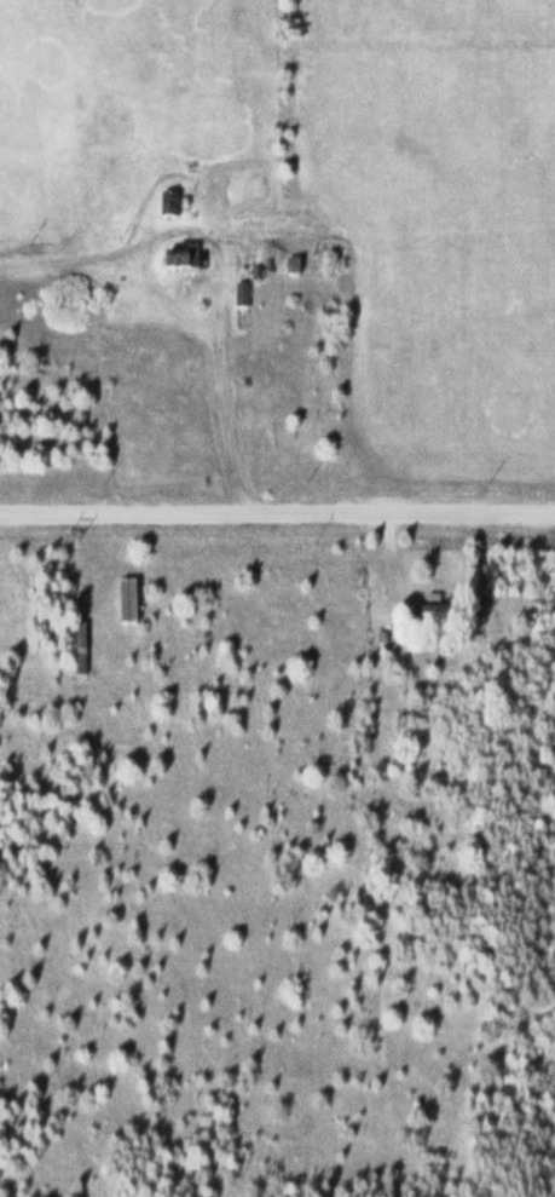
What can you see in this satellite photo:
building: (166, 205)
building: (178, 259)
road: (277, 520)
building: (426, 620)
building: (76, 641)

